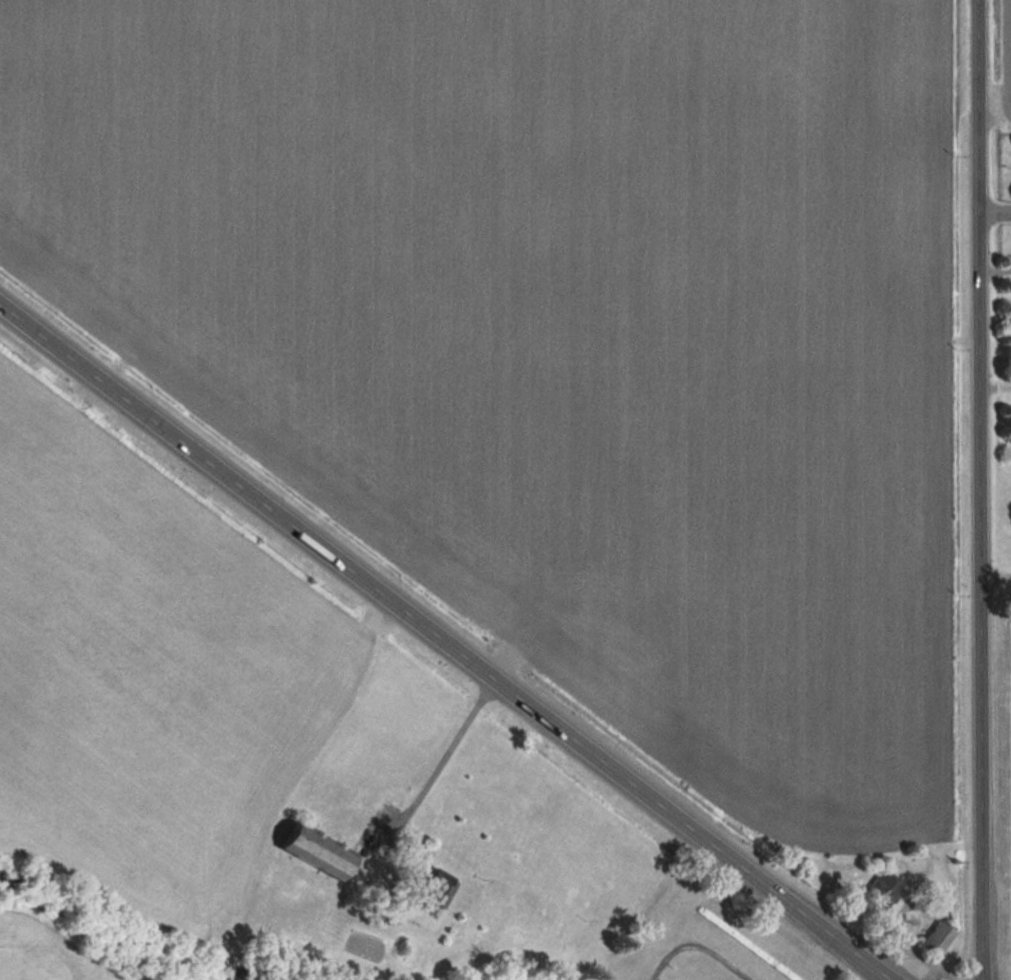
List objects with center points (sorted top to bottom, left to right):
road: (996, 205)
road: (981, 489)
road: (444, 640)
road: (438, 758)
building: (317, 850)
building: (884, 890)
building: (431, 891)
building: (937, 937)
park: (703, 939)
building: (227, 966)

